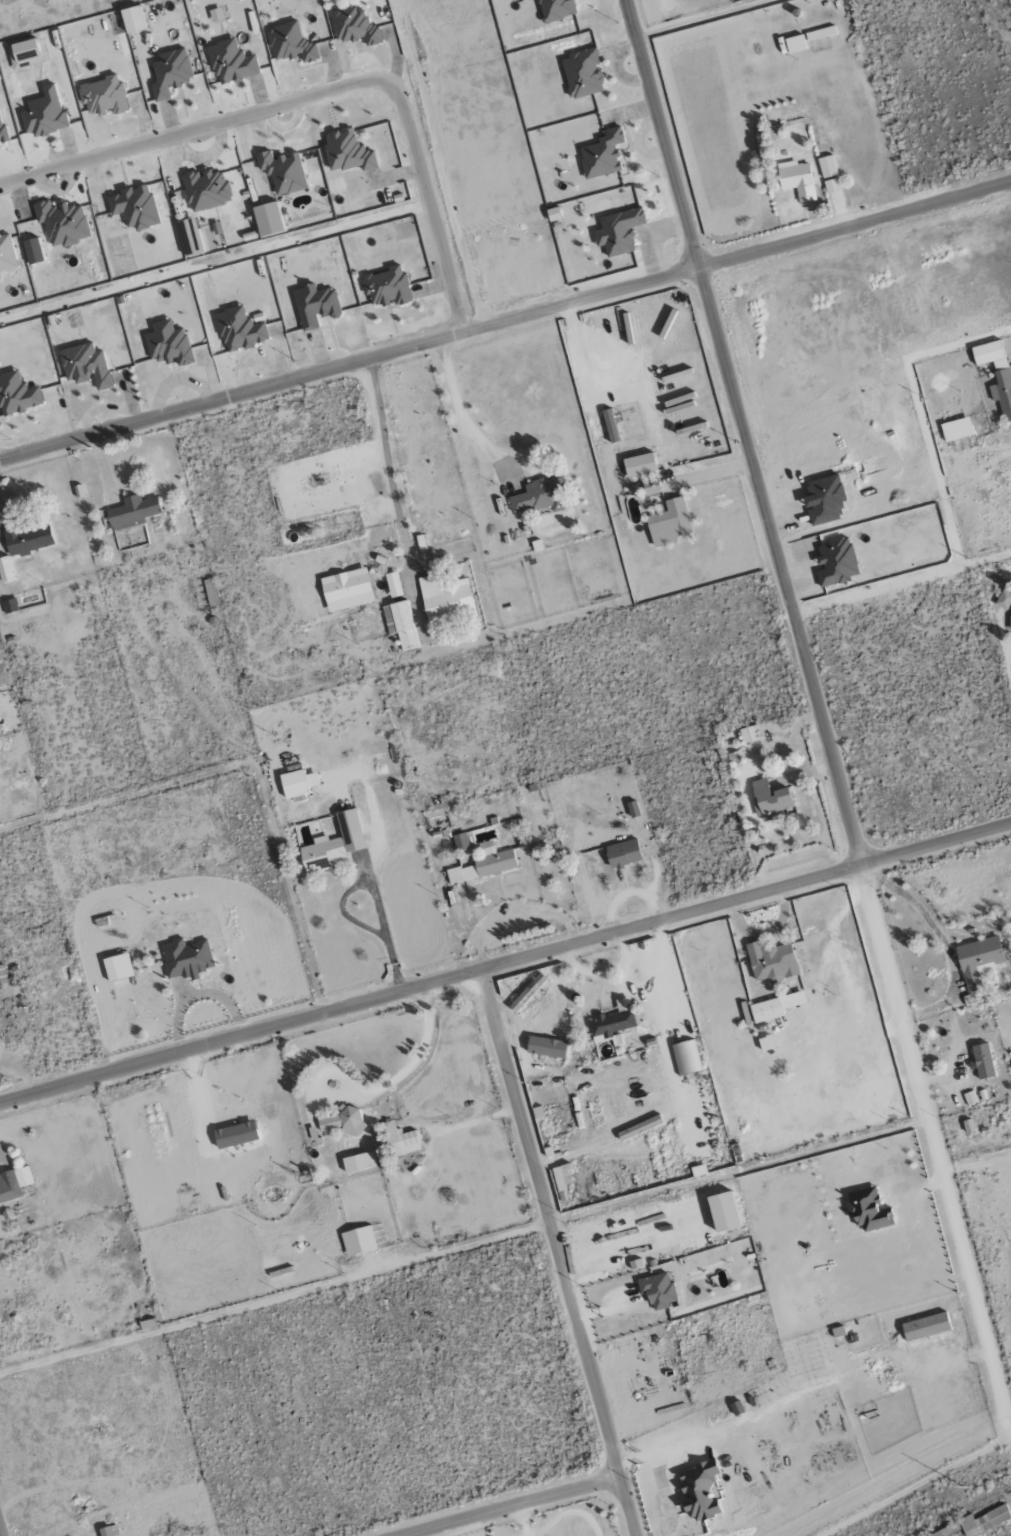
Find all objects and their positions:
building: (555, 9)
building: (131, 20)
building: (354, 27)
building: (820, 33)
building: (290, 44)
building: (794, 44)
building: (23, 54)
building: (231, 62)
building: (170, 73)
building: (582, 74)
road: (322, 89)
building: (103, 97)
building: (44, 114)
building: (2, 132)
building: (346, 152)
building: (601, 154)
building: (281, 172)
building: (828, 173)
building: (797, 179)
building: (206, 189)
building: (134, 207)
building: (267, 219)
building: (62, 222)
building: (617, 231)
building: (189, 237)
building: (33, 251)
building: (6, 254)
building: (387, 287)
building: (314, 305)
road: (505, 319)
building: (239, 329)
building: (168, 344)
building: (85, 365)
building: (996, 373)
building: (17, 394)
road: (456, 399)
building: (956, 429)
building: (639, 464)
road: (388, 470)
building: (651, 487)
building: (537, 496)
building: (132, 512)
building: (668, 523)
building: (29, 538)
building: (835, 562)
building: (6, 570)
building: (393, 585)
building: (347, 590)
building: (447, 600)
building: (1003, 600)
building: (400, 624)
road: (818, 703)
building: (747, 734)
building: (297, 782)
building: (771, 800)
building: (461, 841)
building: (334, 844)
building: (622, 853)
building: (494, 859)
building: (461, 873)
building: (186, 958)
building: (978, 960)
building: (770, 961)
road: (505, 964)
building: (118, 966)
building: (2, 974)
building: (527, 993)
building: (775, 1006)
building: (546, 1047)
building: (686, 1057)
building: (982, 1061)
building: (970, 1098)
building: (342, 1122)
building: (236, 1134)
building: (401, 1139)
building: (359, 1162)
building: (561, 1177)
building: (14, 1183)
building: (867, 1210)
building: (723, 1211)
building: (358, 1240)
road: (561, 1253)
building: (657, 1290)
building: (925, 1326)
building: (736, 1408)
road: (660, 1481)
building: (698, 1491)
road: (514, 1506)
building: (976, 1523)
building: (105, 1531)
road: (0, 1532)

